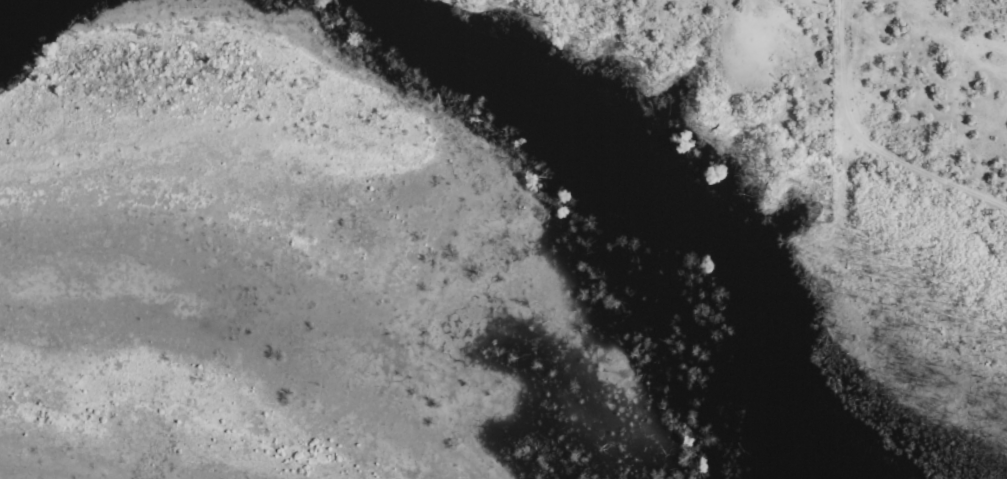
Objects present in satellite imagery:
river: (13, 8)
road: (866, 141)
river: (659, 198)

